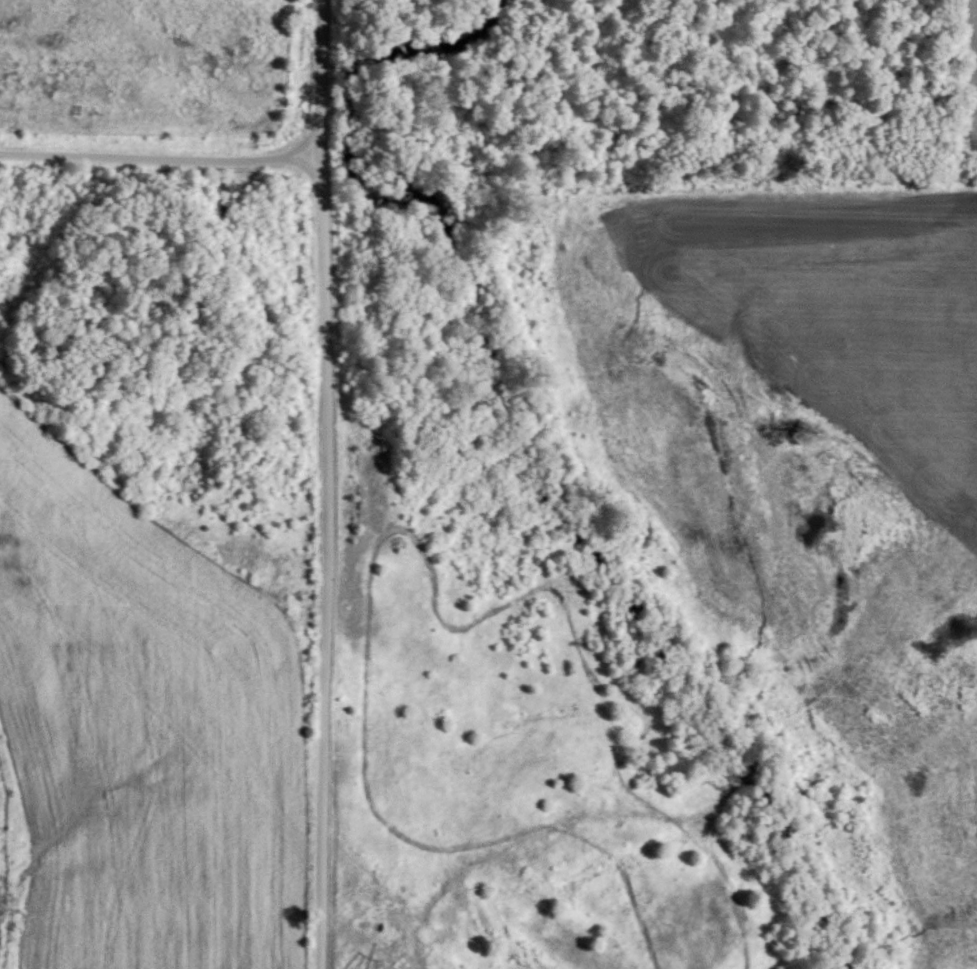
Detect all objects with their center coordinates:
road: (161, 161)
road: (320, 484)

